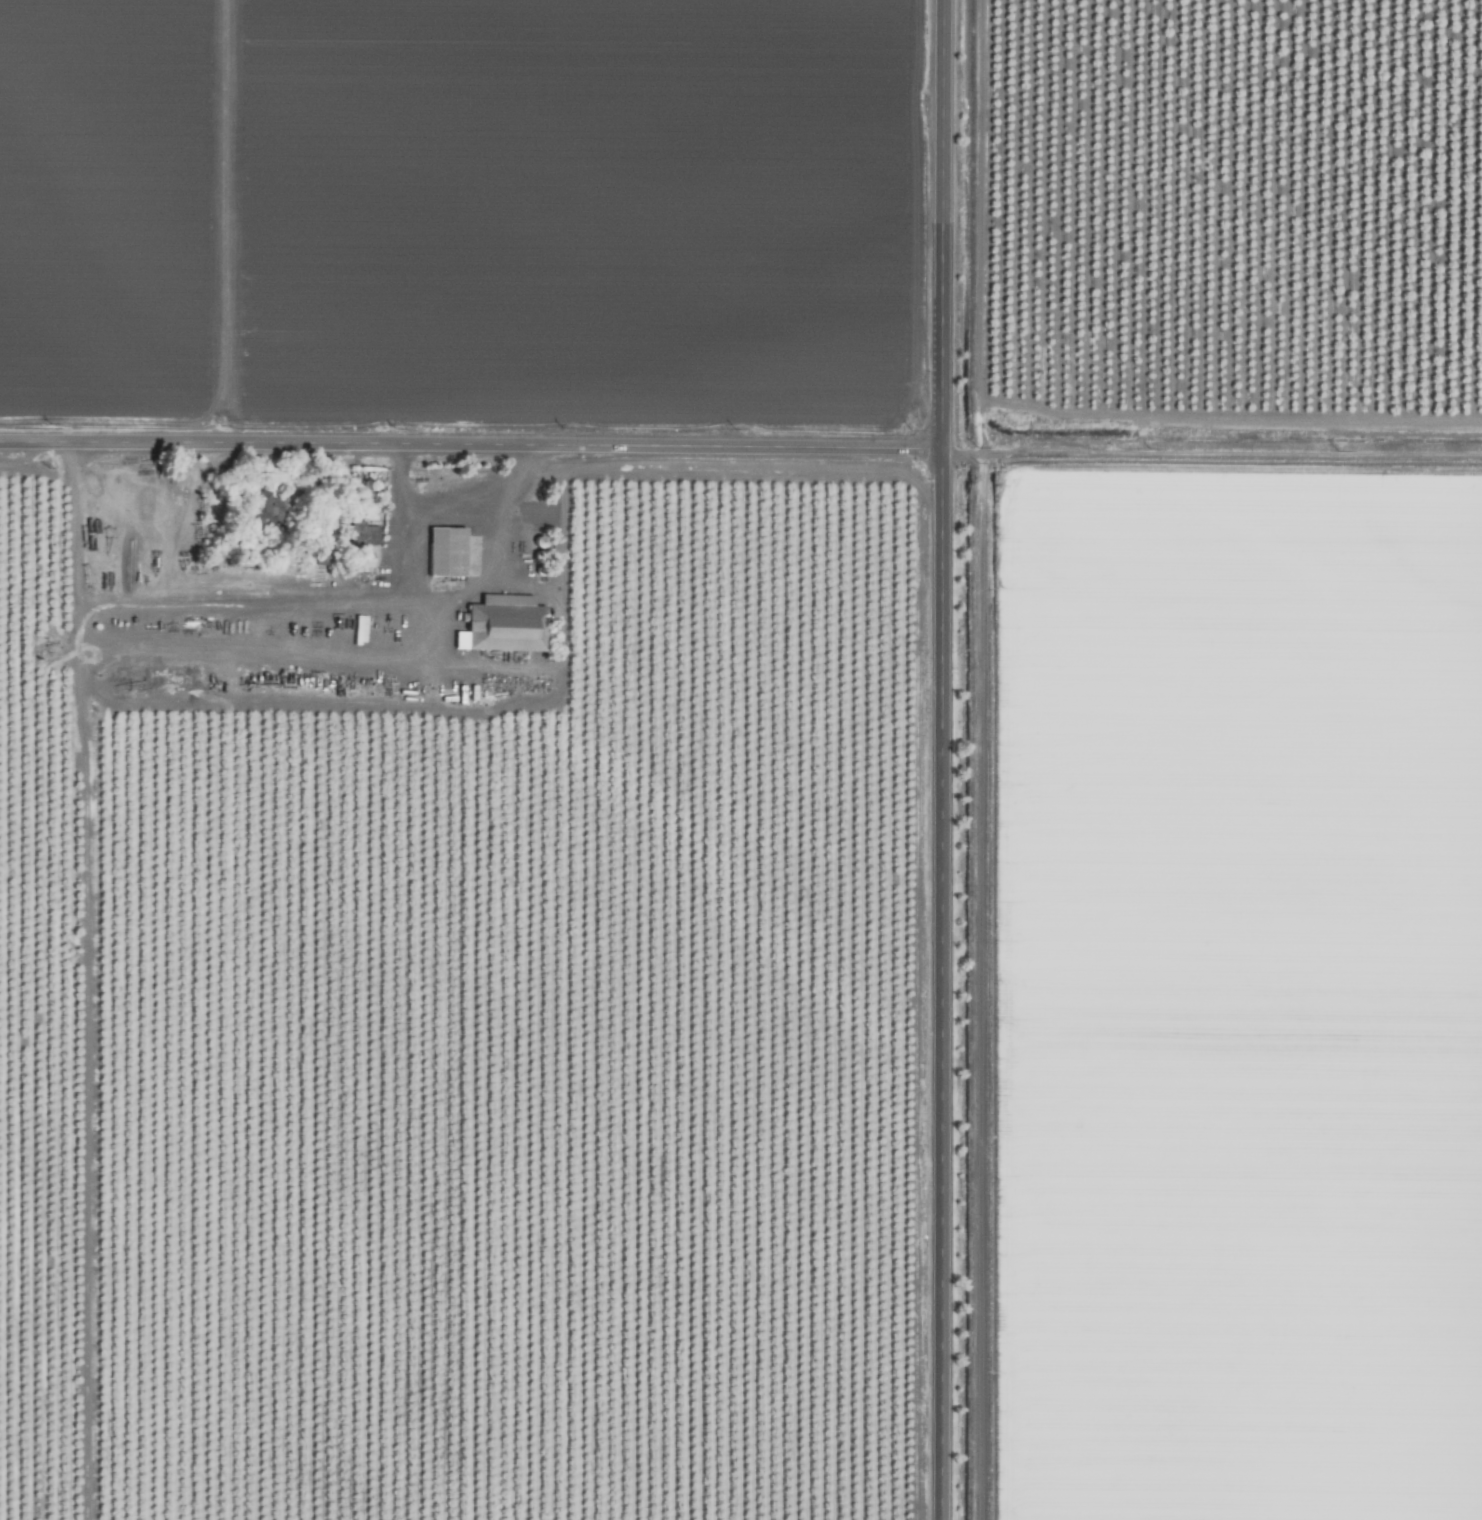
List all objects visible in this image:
road: (472, 447)
road: (1213, 463)
road: (483, 493)
building: (365, 533)
building: (445, 551)
road: (312, 603)
building: (502, 624)
road: (943, 759)
road: (85, 982)

